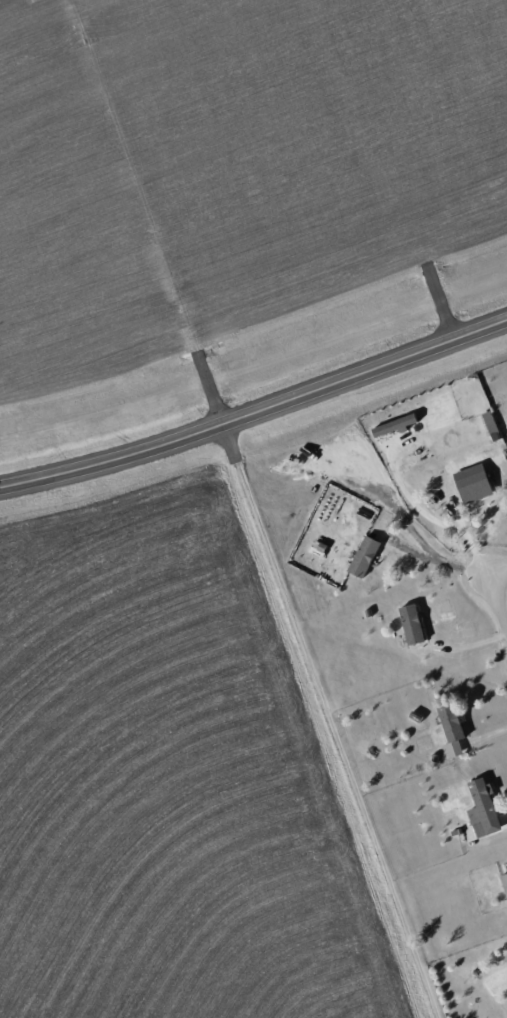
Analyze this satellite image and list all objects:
road: (256, 410)
building: (489, 422)
building: (474, 487)
road: (432, 516)
building: (504, 529)
building: (363, 556)
road: (440, 563)
road: (498, 584)
building: (411, 624)
building: (451, 729)
building: (482, 809)
building: (504, 883)

